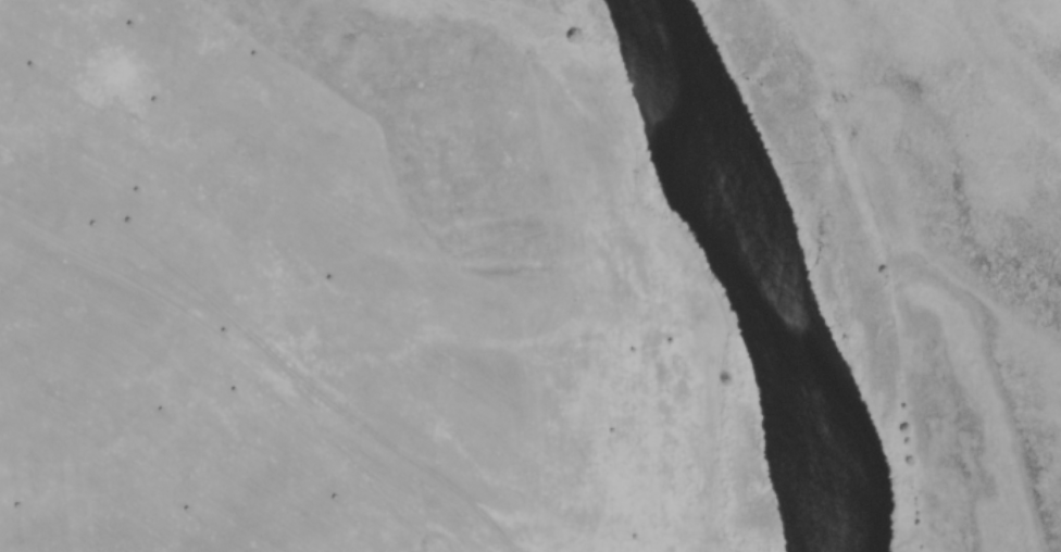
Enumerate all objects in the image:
river: (750, 272)

